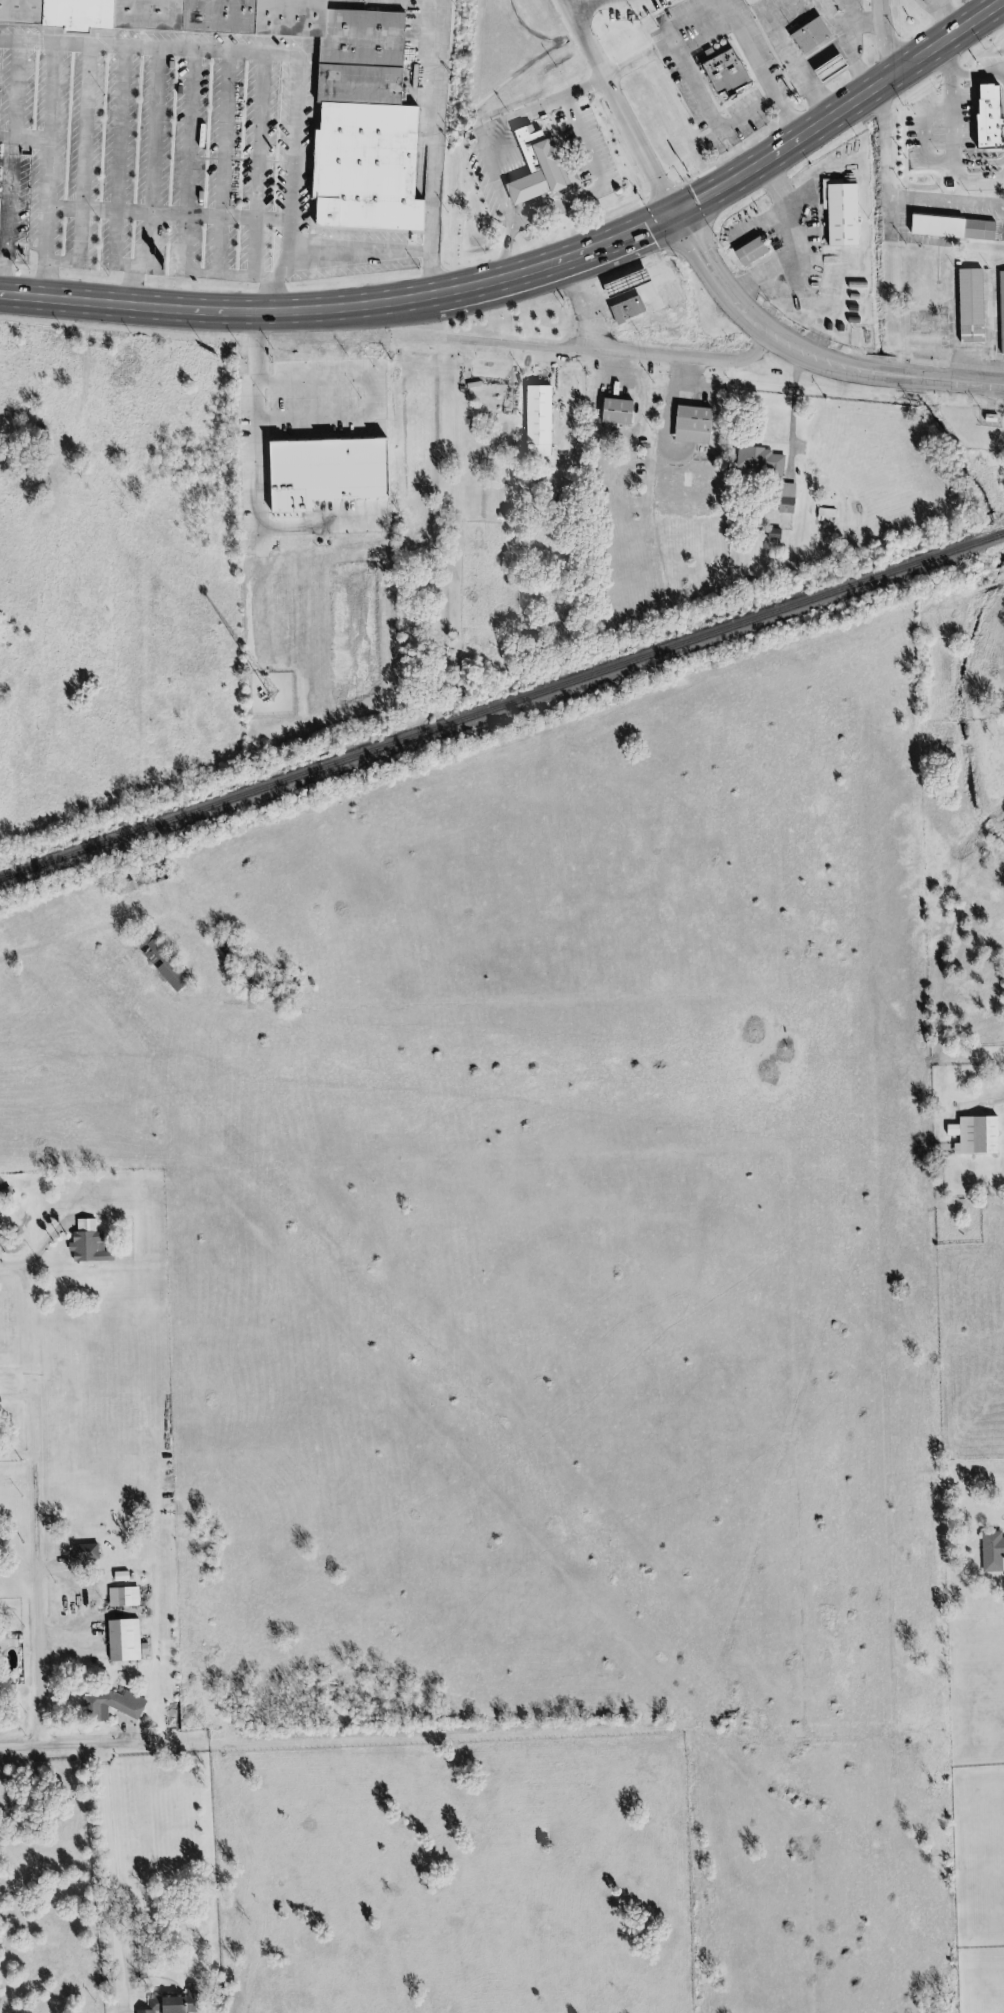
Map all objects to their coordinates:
road: (950, 6)
road: (950, 13)
road: (690, 33)
building: (812, 37)
road: (897, 38)
road: (285, 51)
road: (981, 51)
building: (832, 67)
building: (738, 70)
building: (1001, 74)
road: (23, 88)
road: (64, 91)
road: (545, 112)
road: (596, 145)
building: (365, 152)
road: (96, 153)
road: (129, 155)
road: (166, 158)
building: (546, 160)
road: (896, 160)
road: (201, 161)
road: (237, 164)
road: (272, 165)
building: (995, 169)
road: (59, 190)
road: (951, 202)
road: (638, 203)
road: (570, 206)
traffic signals: (680, 213)
building: (850, 213)
building: (4, 221)
building: (962, 227)
building: (751, 253)
road: (171, 271)
road: (537, 275)
building: (626, 283)
road: (141, 290)
building: (971, 304)
road: (588, 307)
building: (1001, 308)
building: (627, 311)
road: (627, 355)
road: (808, 357)
building: (372, 381)
building: (328, 393)
building: (630, 410)
building: (551, 412)
building: (616, 412)
building: (538, 421)
building: (695, 422)
building: (763, 456)
building: (324, 469)
building: (485, 493)
building: (787, 499)
road: (259, 503)
building: (779, 533)
railway: (993, 539)
railway: (491, 711)
building: (127, 888)
road: (75, 932)
building: (163, 965)
building: (977, 1135)
building: (57, 1185)
building: (89, 1245)
road: (34, 1252)
building: (80, 1552)
building: (992, 1552)
road: (26, 1575)
building: (116, 1576)
building: (119, 1596)
building: (119, 1639)
building: (107, 1705)
road: (64, 1744)
road: (547, 1838)
road: (102, 1878)
building: (172, 2003)

